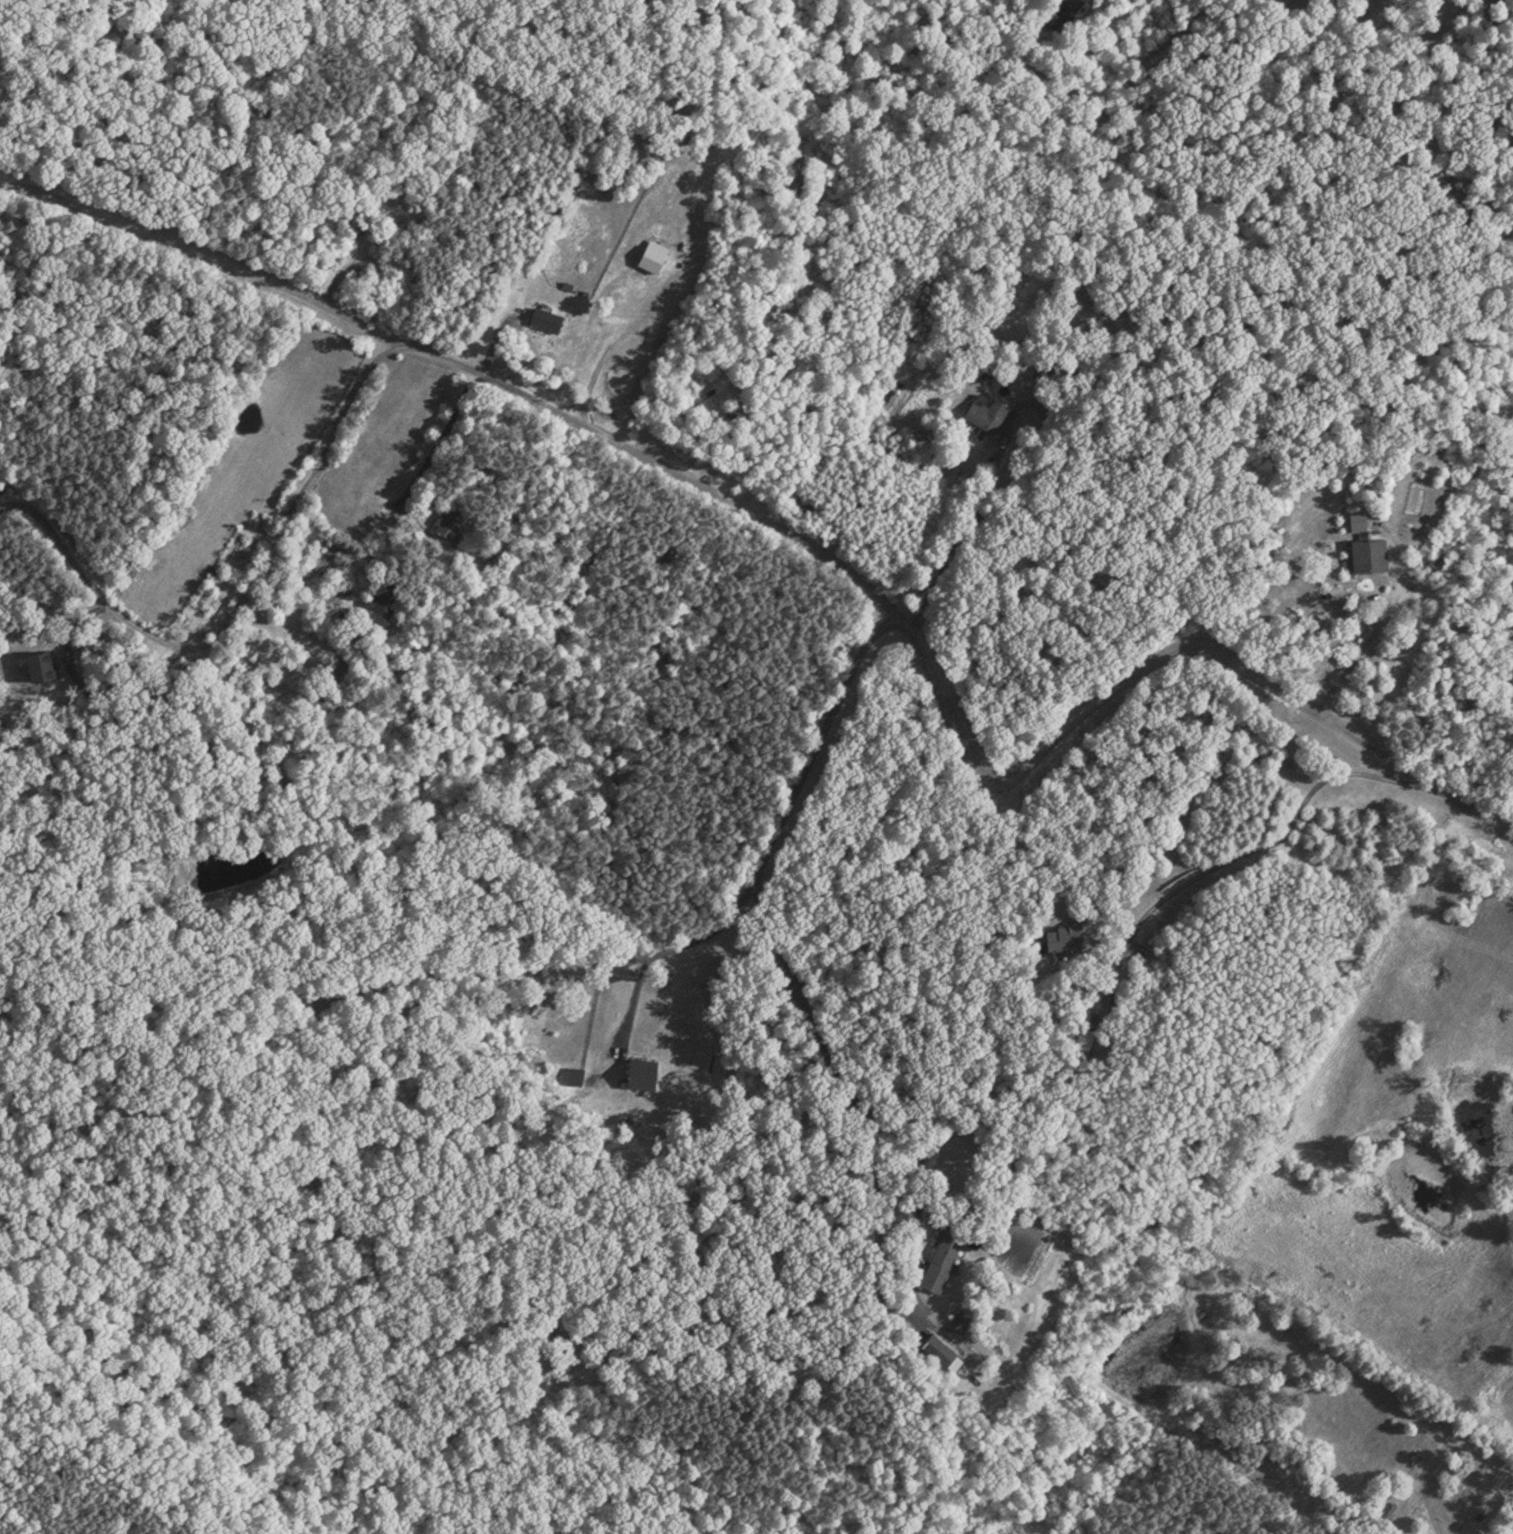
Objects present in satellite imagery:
road: (192, 256)
building: (547, 317)
building: (985, 411)
road: (436, 437)
building: (450, 521)
building: (1366, 552)
building: (379, 595)
road: (229, 612)
road: (952, 707)
road: (1254, 850)
road: (703, 937)
road: (627, 1004)
building: (642, 1064)
road: (835, 1087)
building: (940, 1256)
building: (938, 1347)

